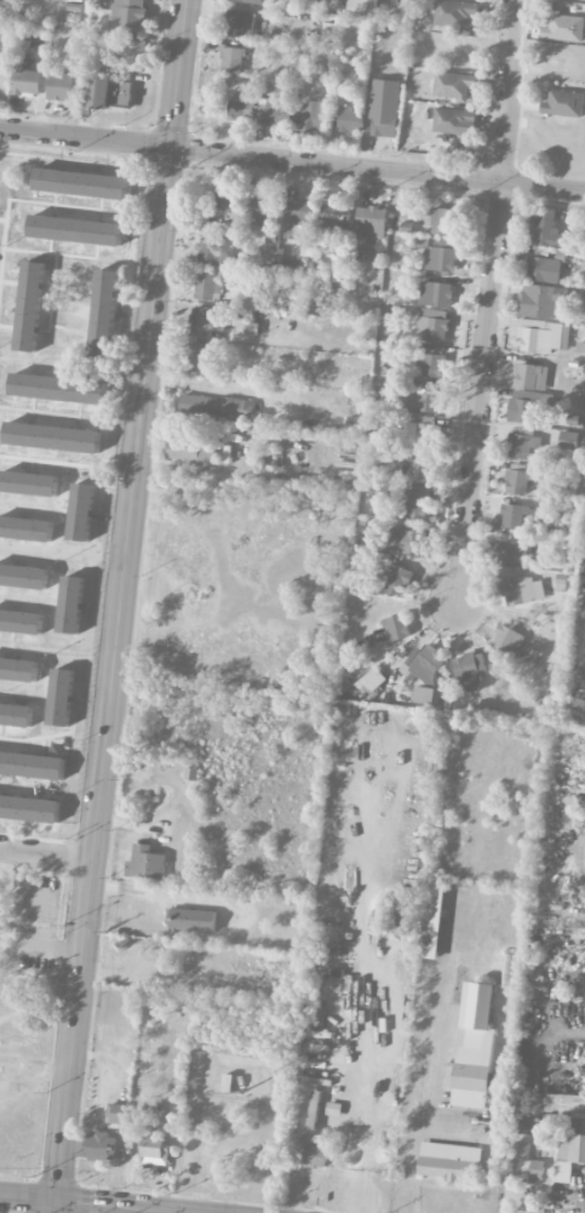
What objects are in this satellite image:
building: (247, 1)
building: (365, 5)
building: (130, 16)
building: (239, 23)
building: (563, 28)
building: (134, 53)
building: (233, 59)
road: (177, 73)
building: (27, 81)
building: (59, 86)
building: (453, 86)
building: (109, 93)
building: (563, 103)
building: (241, 108)
building: (384, 108)
building: (277, 114)
building: (314, 114)
building: (350, 120)
building: (454, 121)
traffic signals: (170, 147)
road: (292, 160)
building: (81, 183)
building: (229, 204)
building: (262, 211)
building: (335, 218)
building: (299, 219)
building: (371, 222)
building: (445, 222)
building: (546, 228)
building: (76, 229)
building: (217, 251)
building: (441, 256)
building: (299, 263)
building: (544, 269)
building: (435, 293)
building: (545, 301)
road: (488, 302)
building: (30, 305)
building: (104, 311)
building: (206, 321)
building: (432, 325)
building: (543, 336)
building: (197, 357)
building: (431, 361)
building: (530, 376)
building: (57, 387)
building: (423, 400)
building: (216, 406)
building: (528, 407)
building: (52, 436)
building: (190, 450)
building: (419, 470)
building: (29, 482)
building: (517, 482)
building: (417, 503)
building: (581, 508)
building: (82, 513)
building: (515, 515)
building: (27, 528)
building: (407, 542)
building: (511, 554)
building: (23, 576)
building: (398, 579)
building: (522, 590)
building: (71, 605)
building: (21, 622)
building: (397, 628)
building: (507, 641)
building: (423, 664)
building: (18, 670)
road: (113, 673)
building: (469, 673)
building: (61, 698)
building: (15, 715)
building: (31, 765)
building: (29, 808)
road: (46, 847)
building: (145, 864)
building: (191, 920)
building: (431, 920)
road: (18, 926)
building: (507, 971)
road: (390, 1019)
building: (475, 1051)
road: (35, 1064)
building: (117, 1114)
road: (424, 1116)
building: (566, 1129)
building: (97, 1146)
building: (154, 1150)
building: (316, 1155)
building: (447, 1161)
building: (524, 1163)
traffic signals: (59, 1201)
road: (85, 1203)
road: (58, 1207)

